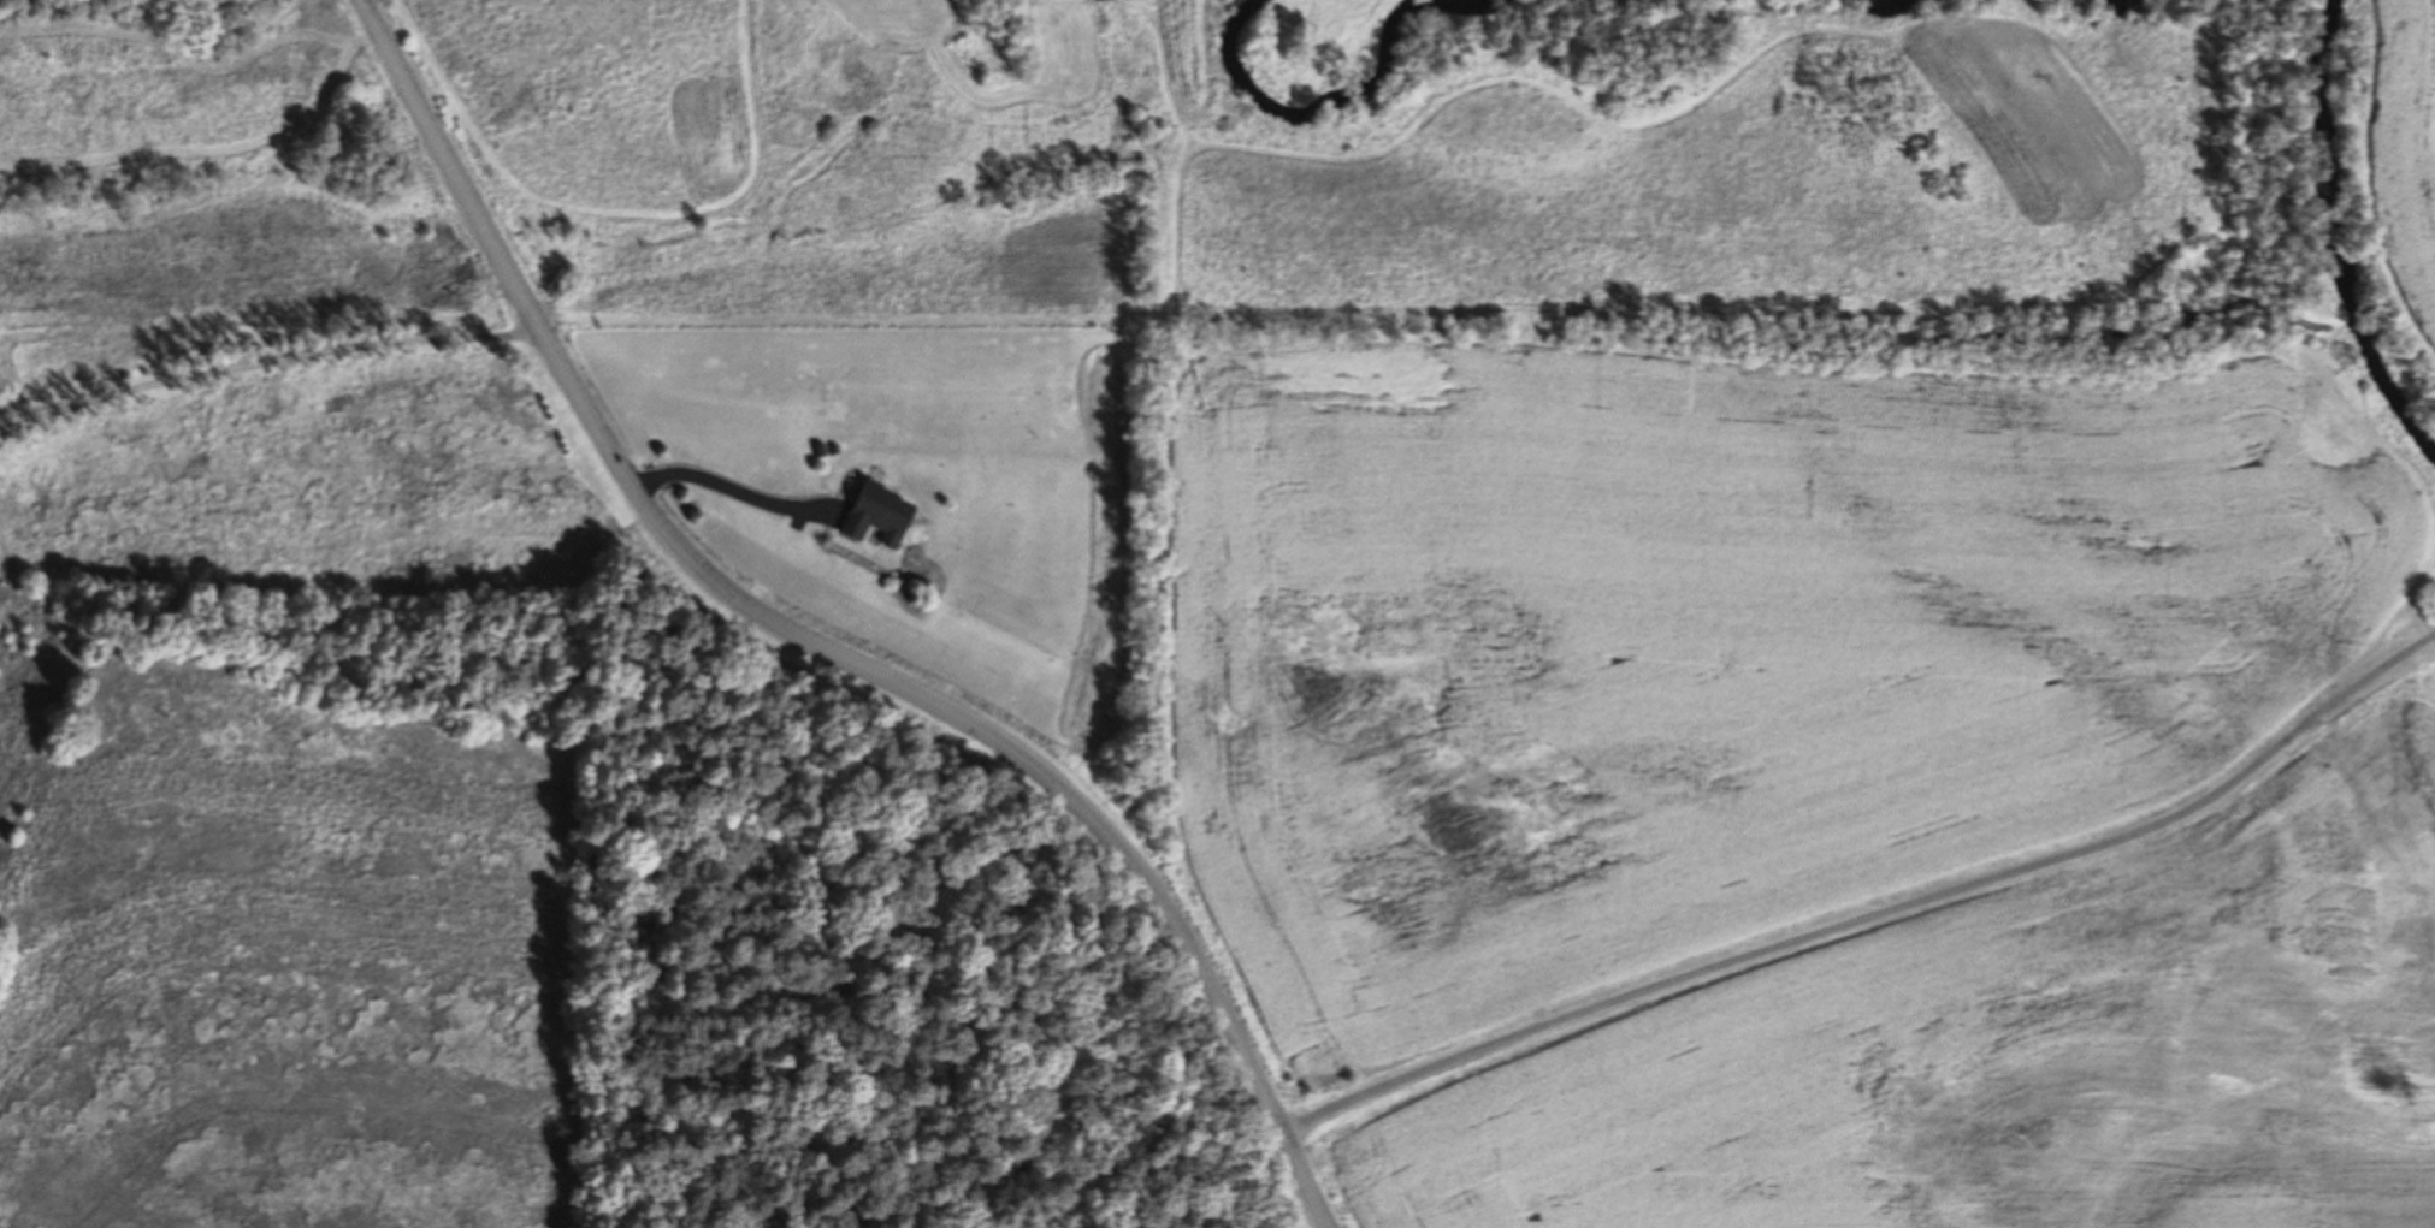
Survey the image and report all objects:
river: (1382, 61)
river: (2351, 237)
road: (267, 361)
road: (735, 490)
building: (882, 514)
road: (814, 646)
road: (1864, 927)

